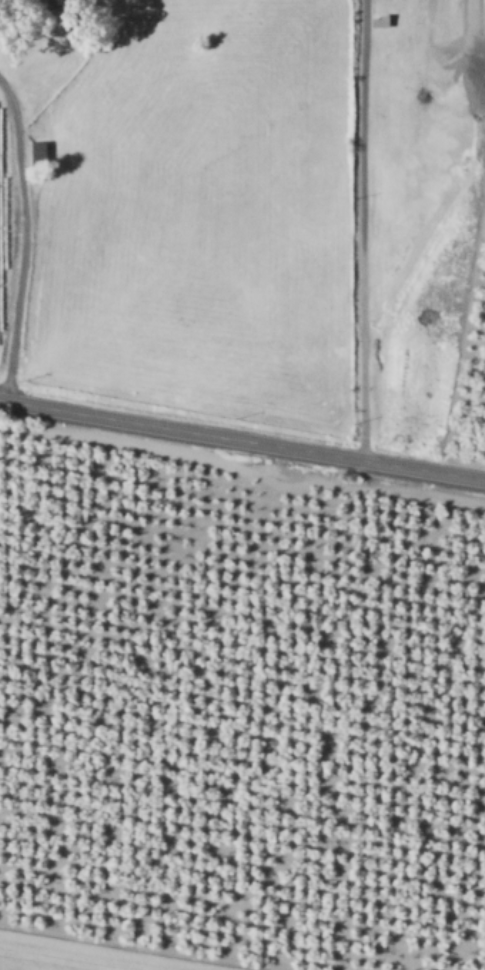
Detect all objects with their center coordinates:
building: (38, 150)
crop: (240, 204)
road: (361, 229)
road: (20, 239)
road: (242, 439)
crop: (236, 717)

